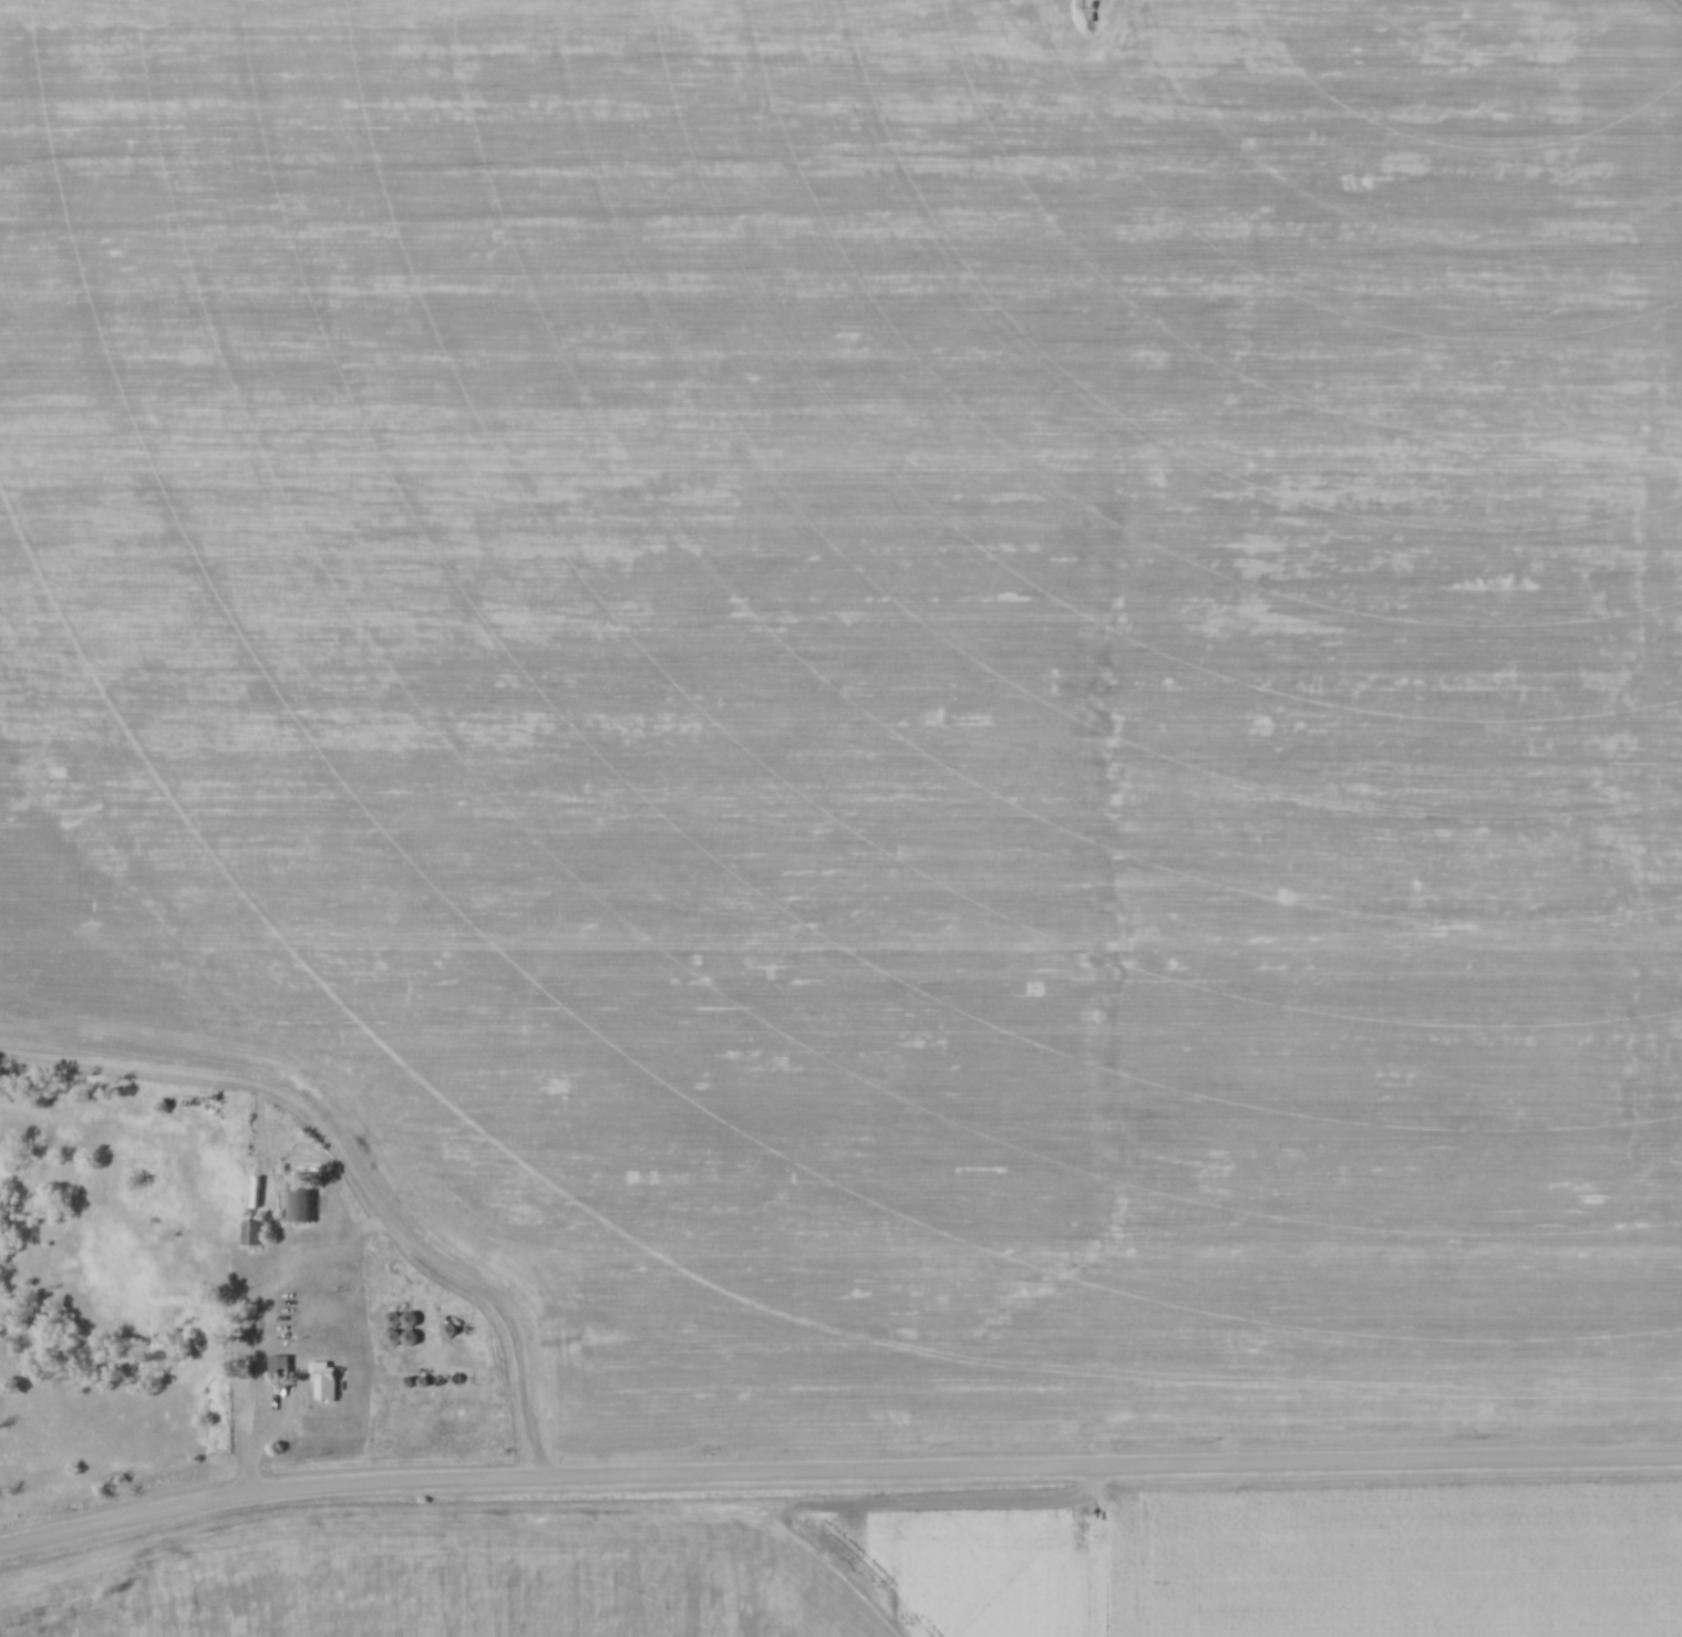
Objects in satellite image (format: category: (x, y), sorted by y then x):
building: (306, 1199)
building: (264, 1233)
building: (278, 1367)
building: (323, 1381)
road: (837, 1469)
crop: (1404, 1564)
crop: (600, 1573)

